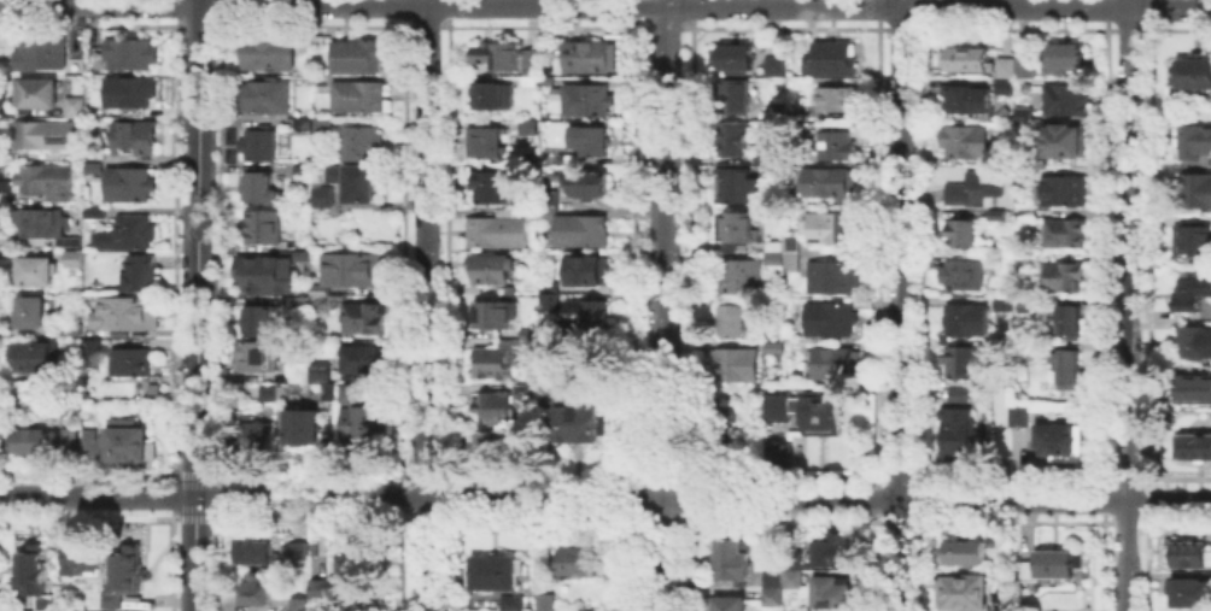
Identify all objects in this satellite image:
road: (662, 2)
road: (330, 4)
road: (936, 7)
building: (268, 52)
building: (42, 55)
building: (131, 57)
building: (357, 58)
building: (501, 58)
building: (1065, 58)
building: (591, 59)
building: (731, 60)
building: (831, 60)
building: (964, 60)
building: (533, 65)
building: (777, 69)
building: (1197, 76)
building: (1014, 78)
building: (555, 82)
building: (322, 83)
building: (130, 93)
building: (36, 95)
building: (361, 98)
building: (490, 99)
building: (733, 99)
building: (271, 100)
building: (586, 102)
building: (838, 102)
building: (967, 102)
building: (1065, 102)
building: (76, 110)
building: (1024, 116)
building: (304, 125)
building: (321, 129)
building: (45, 139)
building: (135, 140)
building: (1192, 140)
building: (591, 141)
building: (964, 141)
building: (735, 142)
building: (487, 143)
building: (362, 145)
building: (1064, 145)
building: (838, 146)
building: (258, 147)
building: (574, 161)
building: (94, 170)
building: (303, 171)
building: (1022, 176)
building: (47, 182)
building: (356, 184)
building: (831, 184)
building: (735, 186)
building: (130, 187)
building: (589, 187)
building: (975, 189)
building: (261, 190)
building: (491, 190)
building: (1064, 193)
building: (1192, 193)
building: (324, 199)
building: (95, 215)
building: (1026, 215)
building: (1001, 217)
building: (48, 227)
building: (574, 227)
building: (263, 230)
building: (833, 231)
building: (963, 231)
building: (497, 233)
building: (129, 234)
building: (736, 234)
building: (1065, 237)
building: (1193, 242)
building: (774, 251)
road: (661, 252)
building: (794, 254)
building: (70, 257)
building: (1025, 262)
building: (355, 271)
building: (492, 272)
building: (33, 274)
building: (590, 274)
building: (139, 275)
building: (264, 277)
building: (965, 277)
building: (745, 278)
building: (1063, 280)
building: (836, 281)
building: (1193, 295)
building: (551, 299)
building: (1000, 302)
road: (195, 305)
road: (425, 305)
road: (897, 305)
road: (1127, 305)
building: (1006, 306)
building: (1025, 307)
building: (323, 310)
building: (31, 315)
building: (125, 315)
building: (496, 319)
building: (590, 319)
building: (364, 321)
building: (832, 321)
building: (1070, 322)
building: (258, 323)
building: (735, 323)
building: (969, 323)
building: (530, 335)
building: (1193, 345)
building: (94, 347)
building: (35, 358)
building: (259, 359)
building: (497, 362)
building: (365, 363)
building: (134, 364)
building: (835, 365)
building: (965, 365)
building: (736, 366)
building: (322, 370)
building: (303, 372)
building: (1069, 376)
building: (1193, 390)
building: (273, 395)
building: (328, 395)
building: (352, 395)
building: (960, 398)
building: (998, 403)
building: (493, 411)
building: (811, 415)
building: (724, 418)
building: (1022, 421)
building: (362, 427)
building: (579, 428)
building: (305, 430)
building: (959, 437)
building: (37, 440)
building: (257, 441)
building: (72, 442)
building: (1063, 445)
building: (133, 446)
building: (497, 447)
building: (1194, 450)
building: (92, 451)
building: (780, 456)
road: (98, 495)
road: (427, 498)
road: (935, 500)
building: (314, 547)
building: (255, 548)
building: (297, 548)
road: (659, 554)
building: (969, 554)
building: (83, 556)
building: (835, 556)
building: (1188, 556)
building: (732, 564)
building: (583, 565)
building: (1055, 565)
building: (128, 568)
building: (35, 574)
building: (347, 575)
building: (497, 575)
building: (776, 578)
building: (1005, 584)
building: (317, 586)
building: (253, 588)
building: (961, 594)
building: (1188, 595)
building: (835, 597)
building: (774, 599)
building: (113, 601)
building: (298, 603)
building: (549, 603)
building: (514, 605)
building: (729, 606)
building: (94, 610)

